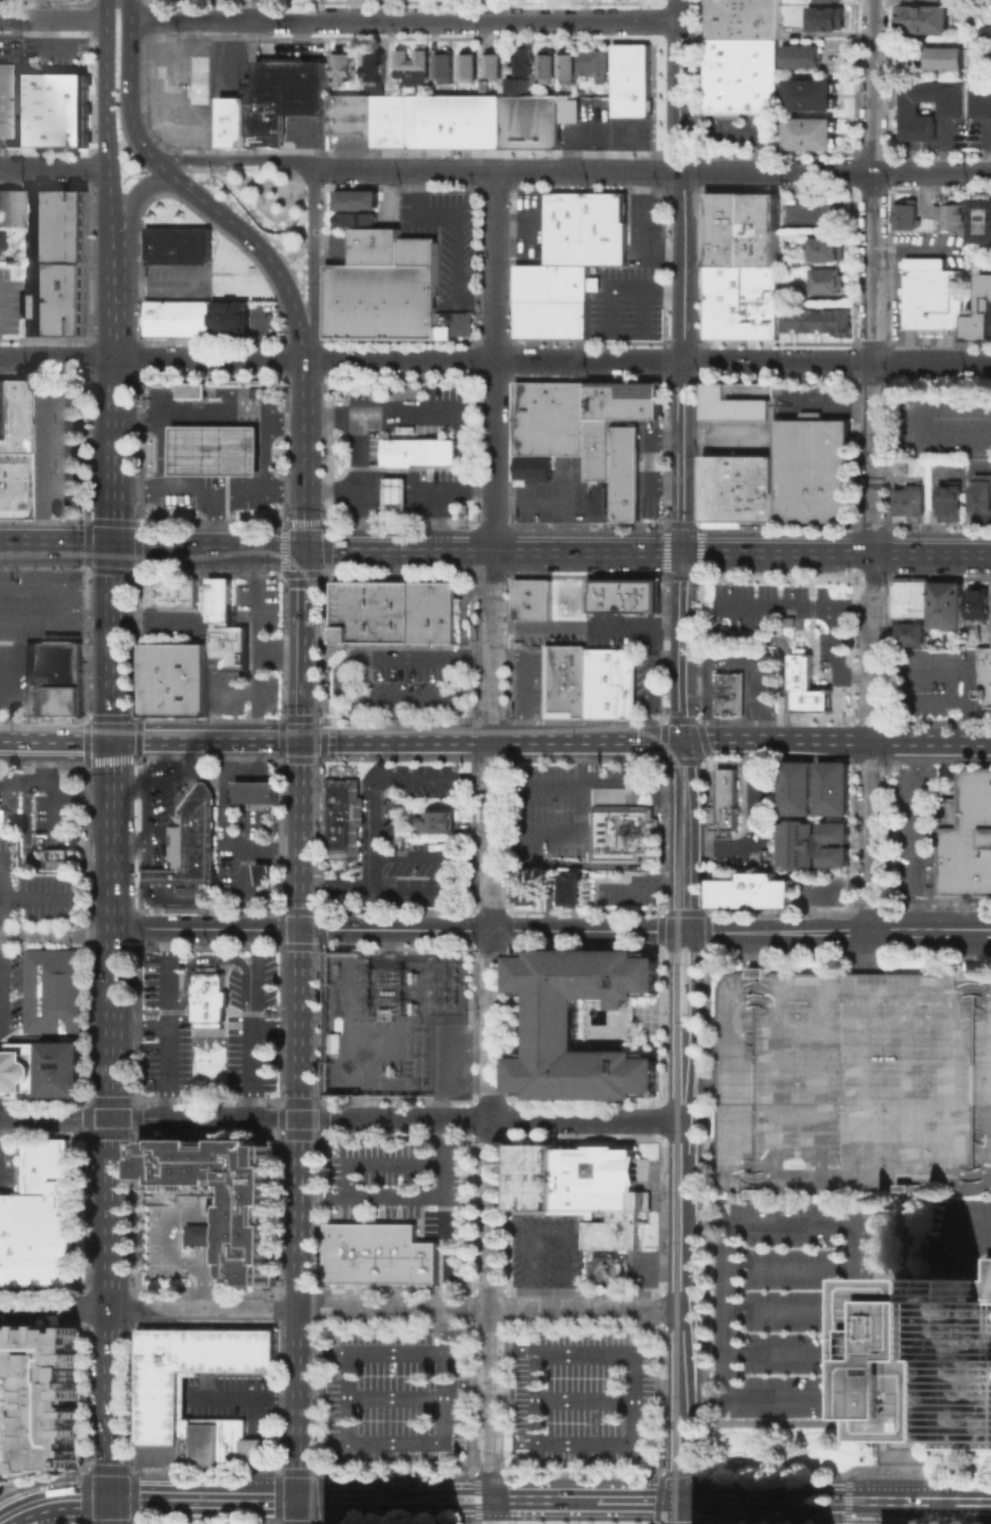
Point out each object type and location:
building: (830, 2)
building: (925, 2)
road: (257, 9)
road: (53, 18)
road: (404, 19)
building: (829, 21)
building: (744, 22)
building: (928, 23)
building: (985, 30)
road: (51, 32)
building: (589, 58)
building: (466, 59)
building: (523, 59)
building: (491, 61)
building: (563, 61)
building: (803, 61)
building: (442, 62)
building: (948, 62)
building: (340, 63)
building: (543, 63)
building: (374, 64)
building: (411, 64)
building: (194, 76)
building: (627, 78)
road: (131, 80)
building: (744, 80)
building: (515, 82)
road: (164, 83)
road: (872, 86)
building: (279, 94)
building: (590, 95)
building: (814, 100)
building: (983, 103)
building: (46, 107)
building: (572, 110)
building: (346, 113)
building: (954, 113)
building: (386, 119)
building: (453, 119)
building: (529, 119)
building: (228, 120)
road: (106, 130)
building: (812, 139)
road: (232, 157)
road: (54, 167)
road: (165, 169)
road: (592, 170)
road: (931, 172)
road: (803, 197)
road: (132, 204)
building: (10, 208)
parking lot: (811, 208)
building: (371, 209)
road: (417, 209)
building: (952, 218)
building: (908, 219)
building: (981, 222)
building: (54, 226)
building: (587, 232)
road: (641, 232)
parking lot: (449, 240)
parking lot: (648, 243)
building: (174, 244)
building: (825, 247)
road: (265, 255)
road: (453, 259)
building: (785, 259)
road: (314, 264)
building: (741, 264)
road: (872, 266)
road: (684, 276)
building: (825, 280)
parking lot: (174, 282)
building: (391, 289)
building: (932, 294)
building: (54, 300)
road: (473, 301)
parking lot: (10, 304)
building: (554, 304)
building: (981, 312)
building: (174, 317)
building: (226, 318)
building: (815, 319)
road: (116, 338)
road: (495, 359)
road: (307, 388)
building: (191, 392)
building: (624, 399)
building: (741, 399)
road: (830, 402)
parking lot: (403, 411)
road: (419, 416)
building: (551, 416)
road: (211, 417)
road: (922, 424)
parking lot: (946, 424)
road: (664, 434)
building: (12, 450)
parking lot: (55, 450)
building: (217, 451)
gas station: (217, 451)
building: (418, 452)
road: (161, 453)
road: (265, 454)
building: (615, 463)
building: (899, 465)
building: (531, 467)
building: (812, 469)
road: (895, 479)
road: (116, 481)
road: (307, 482)
road: (356, 482)
building: (759, 487)
road: (211, 490)
road: (400, 490)
building: (721, 490)
parking lot: (556, 491)
building: (982, 492)
building: (395, 493)
gas station: (395, 493)
building: (951, 499)
road: (967, 499)
road: (531, 500)
building: (599, 501)
building: (908, 502)
road: (933, 503)
road: (568, 505)
building: (981, 516)
road: (216, 519)
road: (438, 519)
traffic signals: (115, 545)
road: (152, 546)
traffic signals: (306, 547)
road: (367, 547)
road: (555, 552)
traffic signals: (683, 553)
road: (837, 553)
road: (326, 559)
road: (314, 572)
road: (202, 581)
building: (170, 591)
building: (623, 595)
building: (910, 597)
building: (219, 598)
building: (532, 598)
parking lot: (258, 599)
road: (795, 603)
building: (946, 603)
building: (977, 603)
road: (325, 607)
road: (463, 609)
parking lot: (783, 609)
building: (395, 610)
road: (159, 619)
road: (637, 622)
parking lot: (36, 624)
road: (550, 625)
parking lot: (174, 632)
building: (911, 633)
building: (227, 636)
road: (777, 636)
road: (837, 636)
parking lot: (542, 637)
parking lot: (623, 637)
road: (256, 642)
road: (304, 642)
road: (409, 644)
road: (683, 646)
road: (871, 646)
road: (129, 650)
road: (280, 650)
road: (368, 650)
road: (478, 657)
railway: (326, 658)
building: (229, 659)
road: (186, 660)
building: (985, 663)
road: (955, 664)
building: (160, 671)
building: (186, 672)
parking lot: (186, 672)
parking lot: (527, 679)
building: (565, 679)
building: (55, 681)
road: (325, 681)
building: (610, 681)
road: (525, 682)
parking lot: (640, 683)
road: (650, 683)
parking lot: (933, 683)
building: (805, 685)
parking lot: (392, 687)
parking lot: (243, 690)
road: (235, 692)
road: (352, 692)
parking lot: (763, 692)
building: (985, 692)
building: (728, 693)
road: (709, 696)
road: (919, 698)
building: (160, 700)
railway: (328, 716)
road: (314, 717)
road: (397, 717)
road: (361, 719)
road: (186, 725)
road: (324, 729)
road: (209, 737)
road: (57, 738)
traffic signals: (115, 738)
traffic signals: (304, 739)
road: (493, 739)
traffic signals: (684, 739)
road: (837, 739)
road: (756, 748)
road: (186, 750)
road: (47, 758)
road: (379, 759)
road: (255, 765)
road: (436, 779)
road: (590, 779)
road: (130, 785)
building: (797, 786)
building: (833, 787)
road: (55, 790)
building: (256, 791)
parking lot: (4, 794)
railway: (681, 797)
road: (145, 798)
road: (655, 798)
road: (225, 801)
building: (725, 802)
parking lot: (551, 803)
road: (115, 804)
parking lot: (165, 811)
road: (374, 816)
building: (4, 818)
building: (347, 819)
parking lot: (55, 820)
parking lot: (751, 821)
building: (441, 824)
road: (655, 824)
road: (577, 830)
building: (622, 831)
road: (492, 834)
road: (687, 835)
parking lot: (916, 835)
building: (192, 840)
building: (813, 843)
road: (131, 844)
building: (971, 847)
parking lot: (409, 848)
building: (64, 853)
road: (433, 855)
road: (533, 856)
road: (32, 860)
road: (249, 862)
road: (582, 862)
road: (374, 869)
building: (263, 873)
road: (145, 875)
road: (640, 880)
road: (338, 884)
building: (525, 886)
building: (573, 887)
road: (432, 889)
parking lot: (628, 889)
building: (752, 890)
parking lot: (820, 890)
railway: (315, 891)
parking lot: (31, 893)
road: (150, 893)
road: (36, 897)
road: (820, 908)
road: (155, 917)
traffic signals: (303, 929)
road: (492, 930)
road: (930, 932)
road: (57, 936)
road: (2, 946)
road: (683, 953)
road: (684, 958)
road: (673, 972)
road: (693, 972)
road: (255, 978)
parking lot: (13, 995)
building: (56, 995)
building: (212, 1005)
parking lot: (254, 1005)
railway: (680, 1013)
power substation: (388, 1017)
building: (554, 1019)
road: (169, 1022)
road: (141, 1026)
building: (340, 1040)
road: (253, 1047)
road: (689, 1067)
road: (673, 1068)
building: (42, 1070)
building: (851, 1082)
parking lot: (851, 1082)
road: (113, 1090)
traffic signals: (113, 1117)
traffic signals: (302, 1118)
road: (340, 1118)
road: (302, 1131)
road: (382, 1162)
parking lot: (12, 1168)
road: (445, 1182)
road: (113, 1185)
building: (580, 1189)
parking lot: (406, 1196)
road: (374, 1197)
building: (911, 1202)
building: (251, 1206)
road: (986, 1218)
building: (41, 1219)
road: (206, 1220)
road: (169, 1223)
building: (174, 1228)
parking lot: (174, 1228)
building: (204, 1233)
road: (209, 1233)
parking lot: (957, 1233)
road: (945, 1248)
parking lot: (547, 1251)
road: (206, 1254)
building: (381, 1257)
road: (186, 1264)
road: (790, 1267)
parking lot: (643, 1268)
road: (445, 1277)
building: (904, 1279)
road: (113, 1280)
road: (203, 1285)
road: (851, 1306)
road: (340, 1307)
road: (730, 1308)
road: (681, 1309)
road: (790, 1309)
parking lot: (791, 1309)
road: (320, 1315)
road: (790, 1352)
road: (112, 1363)
building: (946, 1364)
road: (319, 1381)
building: (47, 1389)
fountain: (7, 1396)
building: (162, 1396)
parking lot: (235, 1400)
parking lot: (394, 1400)
parking lot: (586, 1402)
railway: (321, 1447)
park: (792, 1450)
road: (319, 1455)
road: (112, 1458)
road: (310, 1471)
building: (3, 1476)
road: (323, 1484)
road: (466, 1491)
road: (830, 1491)
traffic signals: (111, 1497)
road: (205, 1497)
traffic signals: (300, 1498)
road: (344, 1498)
road: (416, 1498)
road: (479, 1498)
road: (53, 1499)
road: (530, 1499)
road: (584, 1499)
road: (640, 1499)
traffic signals: (683, 1499)
road: (735, 1499)
road: (899, 1500)
road: (942, 1501)
road: (974, 1501)
road: (466, 1506)
road: (830, 1507)
road: (850, 1507)
road: (111, 1510)
road: (490, 1511)
road: (682, 1511)
road: (704, 1511)
road: (40, 1514)

